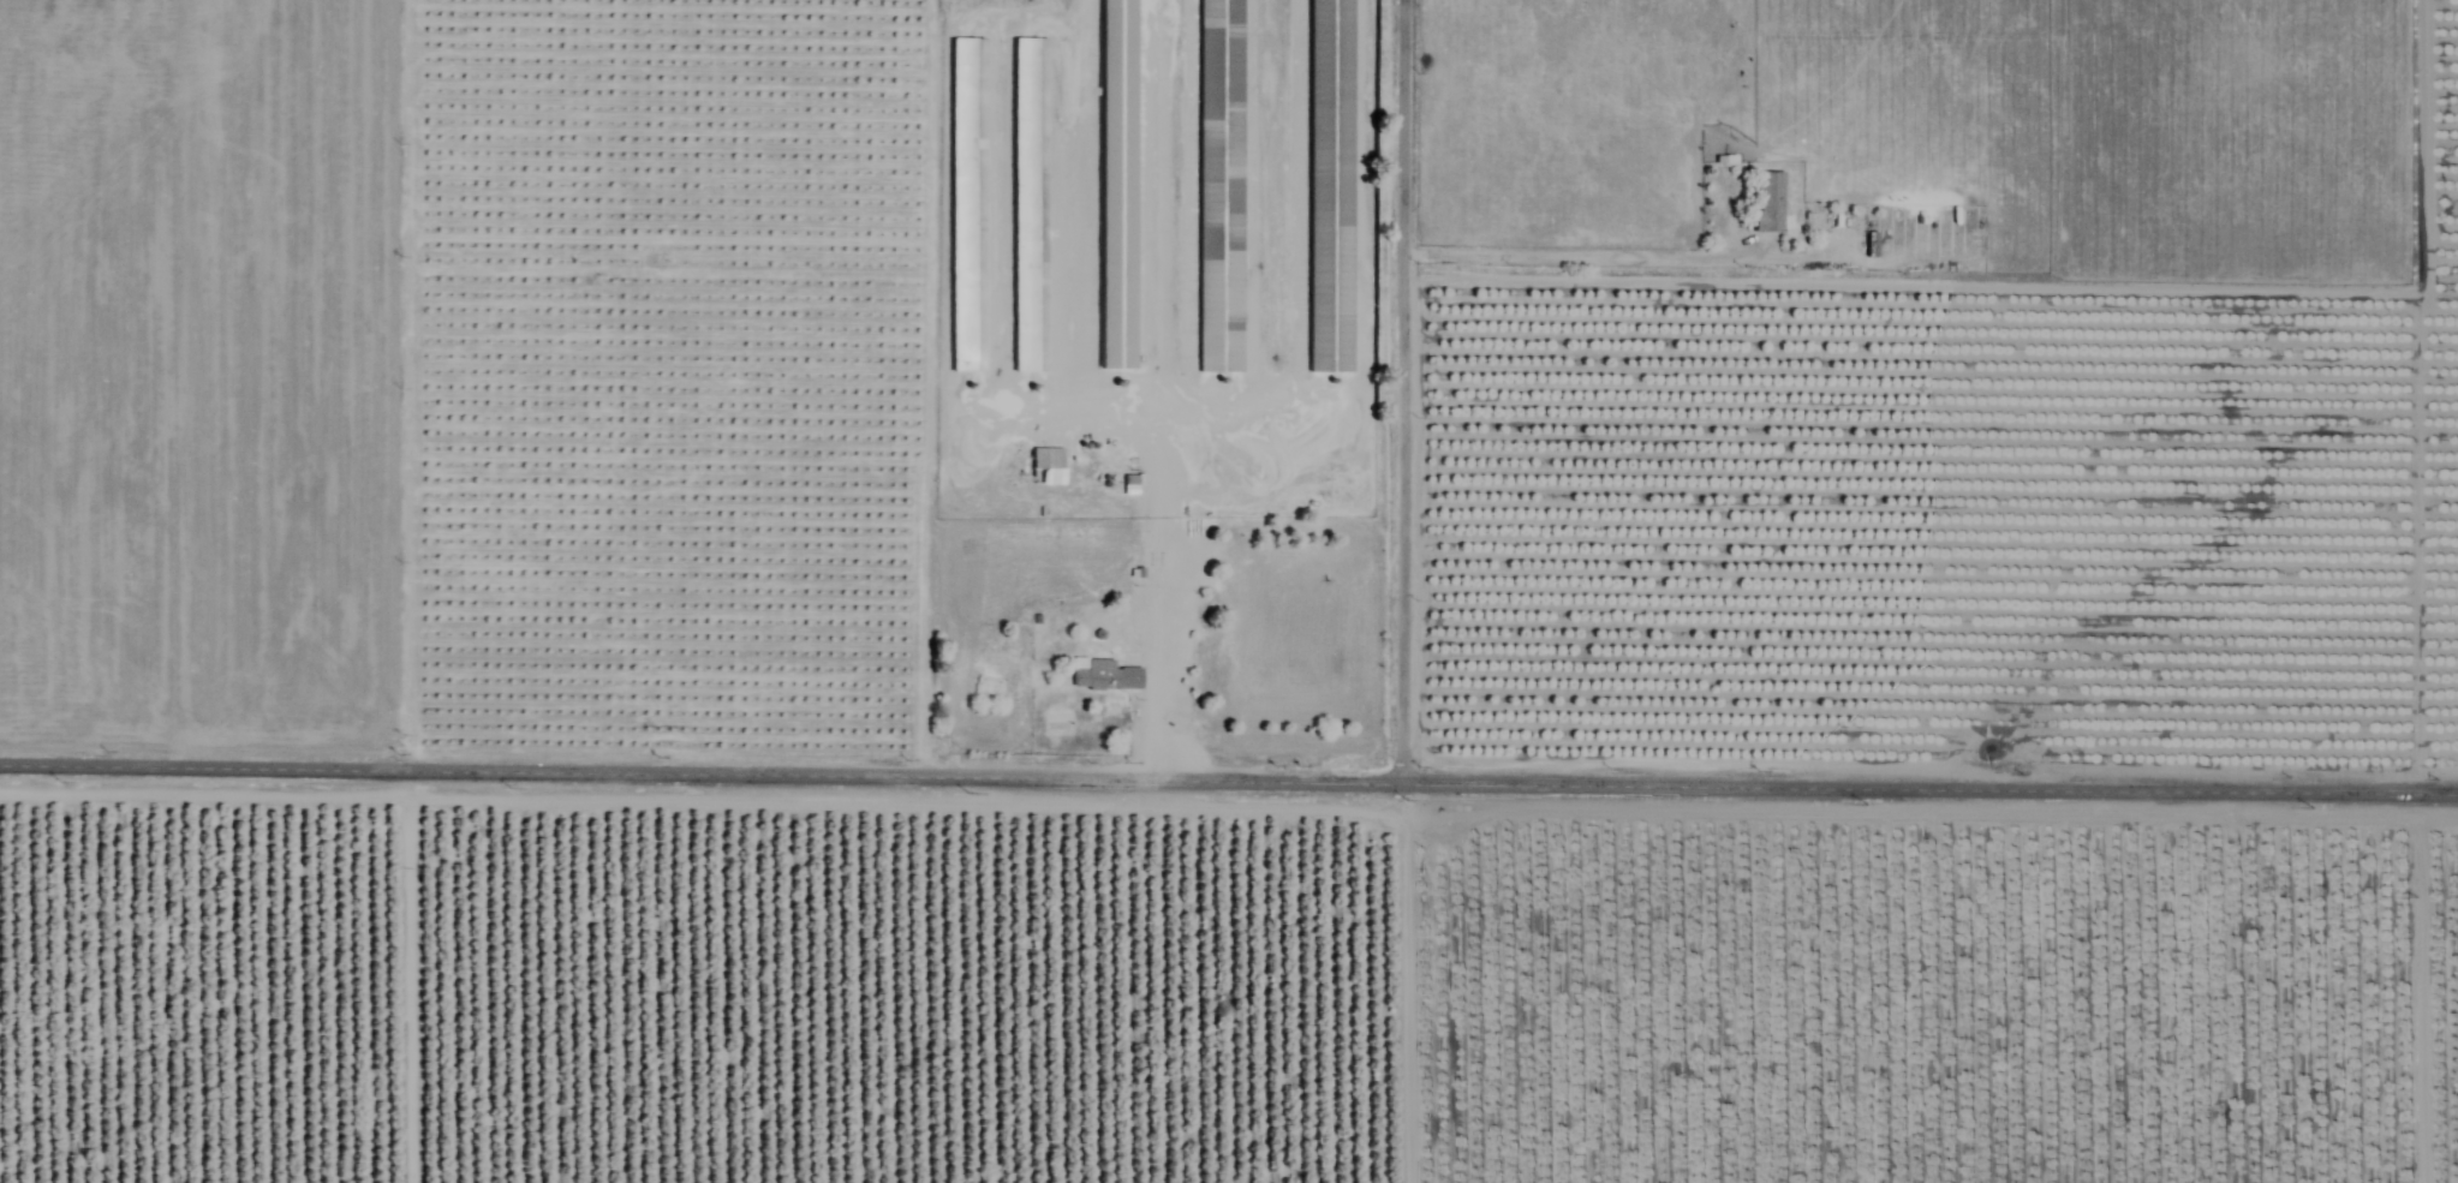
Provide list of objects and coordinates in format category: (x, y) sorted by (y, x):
building: (1118, 184)
building: (1221, 186)
building: (1331, 186)
building: (1770, 202)
building: (968, 205)
building: (1031, 205)
road: (1579, 257)
road: (1404, 388)
road: (1283, 394)
building: (1048, 466)
road: (1159, 549)
building: (1103, 675)
crop: (1940, 676)
road: (1229, 775)

